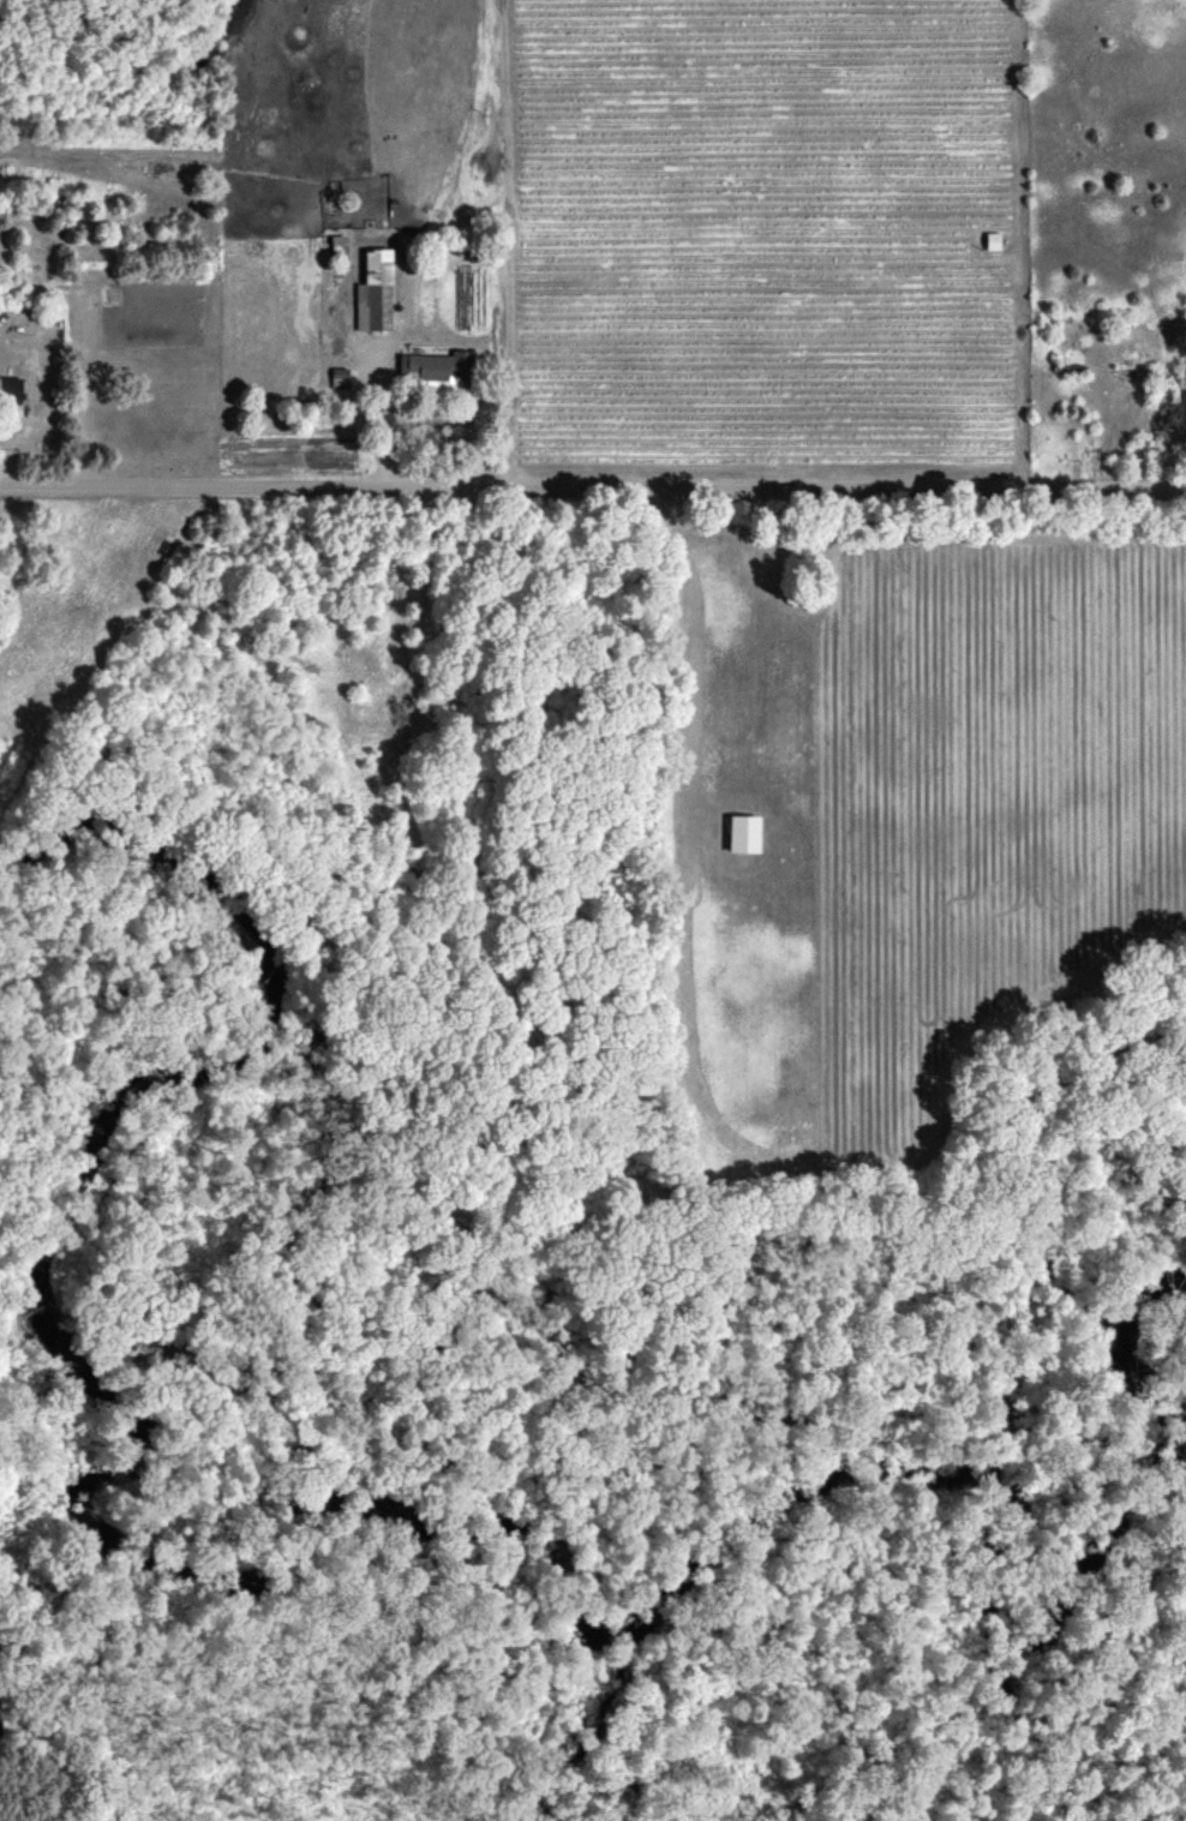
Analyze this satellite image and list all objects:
building: (989, 239)
building: (372, 290)
building: (431, 367)
building: (8, 389)
road: (379, 417)
road: (593, 484)
building: (739, 833)

